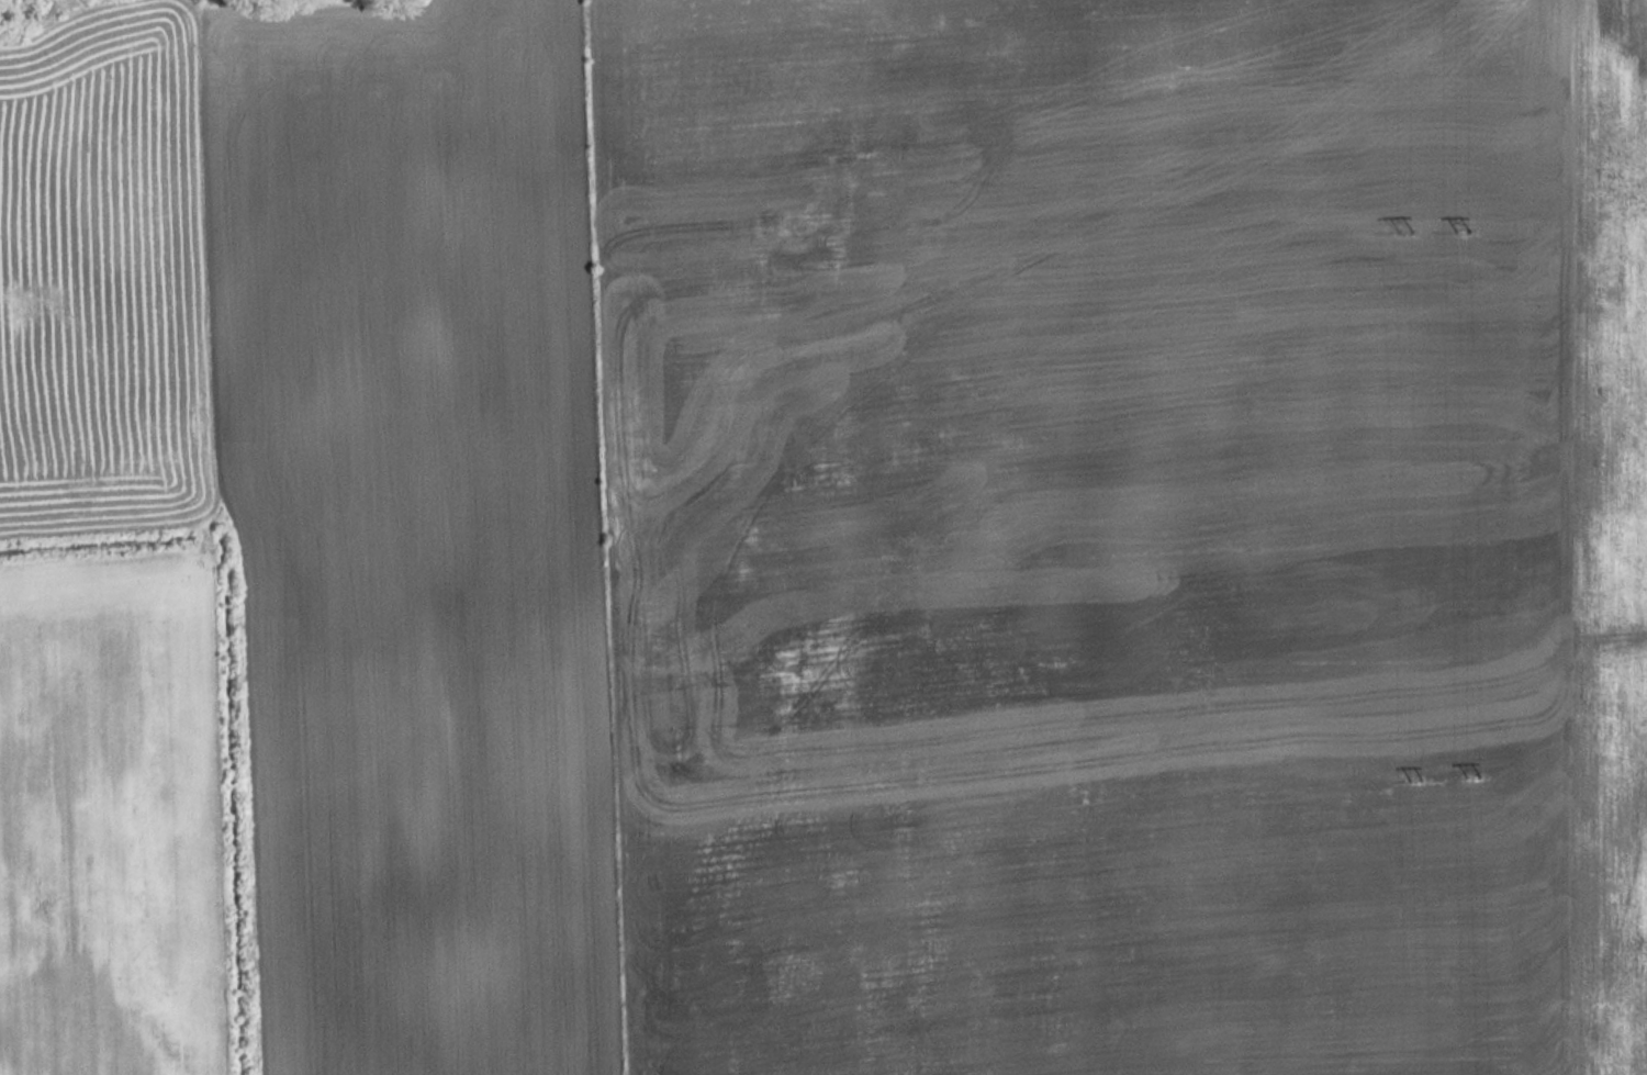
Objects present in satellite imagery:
power tower: (1402, 228)
power tower: (1464, 228)
power tower: (1474, 775)
power tower: (1414, 776)

